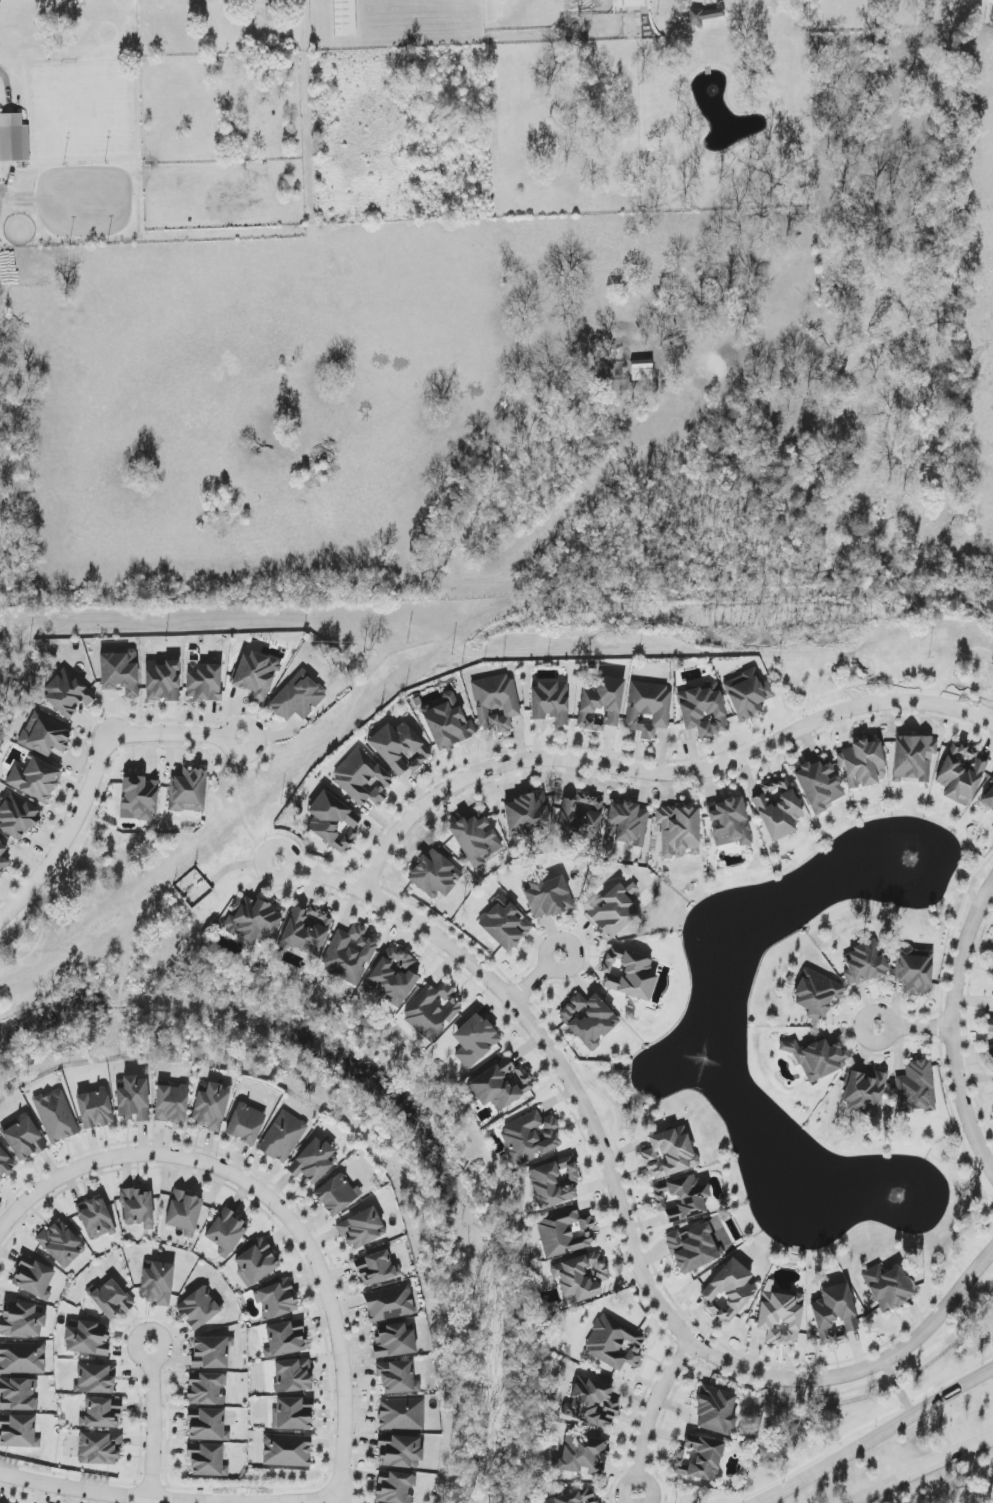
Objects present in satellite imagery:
building: (258, 0)
road: (305, 1)
building: (629, 3)
building: (702, 15)
road: (5, 78)
building: (13, 139)
road: (520, 654)
road: (958, 658)
road: (850, 670)
building: (120, 673)
building: (255, 675)
building: (162, 681)
building: (203, 682)
road: (882, 683)
building: (67, 694)
building: (747, 694)
building: (297, 697)
building: (495, 702)
building: (550, 702)
building: (600, 703)
building: (647, 708)
building: (703, 710)
road: (776, 719)
building: (448, 724)
building: (45, 734)
building: (399, 748)
building: (913, 757)
building: (862, 763)
road: (657, 773)
road: (93, 774)
building: (960, 774)
building: (362, 778)
building: (35, 780)
building: (818, 785)
building: (188, 790)
building: (139, 798)
building: (988, 798)
road: (239, 807)
building: (777, 808)
building: (525, 815)
building: (17, 816)
building: (580, 818)
building: (333, 822)
building: (728, 822)
building: (625, 826)
building: (678, 829)
building: (476, 839)
building: (2, 859)
fountain: (908, 860)
building: (434, 875)
building: (548, 897)
building: (611, 910)
building: (252, 920)
building: (505, 925)
building: (307, 930)
building: (349, 955)
building: (864, 963)
building: (914, 970)
building: (628, 974)
building: (394, 976)
road: (533, 977)
building: (992, 978)
building: (816, 994)
building: (432, 1011)
building: (588, 1019)
building: (989, 1025)
road: (949, 1028)
road: (912, 1030)
building: (474, 1040)
building: (992, 1054)
fountain: (704, 1058)
building: (817, 1058)
building: (501, 1084)
building: (915, 1087)
building: (864, 1093)
building: (133, 1099)
building: (171, 1103)
building: (210, 1107)
building: (94, 1109)
building: (56, 1116)
building: (245, 1124)
building: (283, 1137)
building: (530, 1138)
building: (23, 1139)
building: (669, 1153)
building: (314, 1162)
building: (5, 1165)
building: (554, 1182)
building: (335, 1195)
fountain: (897, 1196)
building: (680, 1198)
building: (137, 1207)
road: (273, 1207)
road: (621, 1211)
building: (183, 1212)
building: (95, 1218)
building: (361, 1228)
building: (564, 1232)
building: (226, 1233)
building: (61, 1244)
building: (693, 1248)
building: (256, 1263)
building: (376, 1269)
building: (580, 1277)
building: (33, 1278)
building: (157, 1283)
building: (887, 1287)
building: (728, 1291)
building: (110, 1299)
building: (277, 1300)
building: (389, 1303)
building: (198, 1308)
building: (834, 1314)
building: (780, 1317)
building: (21, 1321)
building: (86, 1339)
building: (285, 1339)
building: (394, 1341)
building: (614, 1344)
building: (211, 1352)
building: (22, 1358)
building: (292, 1376)
building: (397, 1377)
building: (95, 1379)
road: (898, 1389)
building: (207, 1390)
building: (18, 1394)
building: (592, 1403)
building: (715, 1411)
building: (102, 1413)
road: (649, 1413)
building: (293, 1414)
building: (401, 1414)
road: (149, 1420)
building: (18, 1432)
road: (873, 1439)
building: (100, 1448)
building: (287, 1450)
building: (400, 1451)
building: (582, 1455)
building: (698, 1458)
building: (206, 1460)
road: (922, 1468)
building: (394, 1488)
road: (951, 1492)
road: (112, 1494)
building: (575, 1497)

